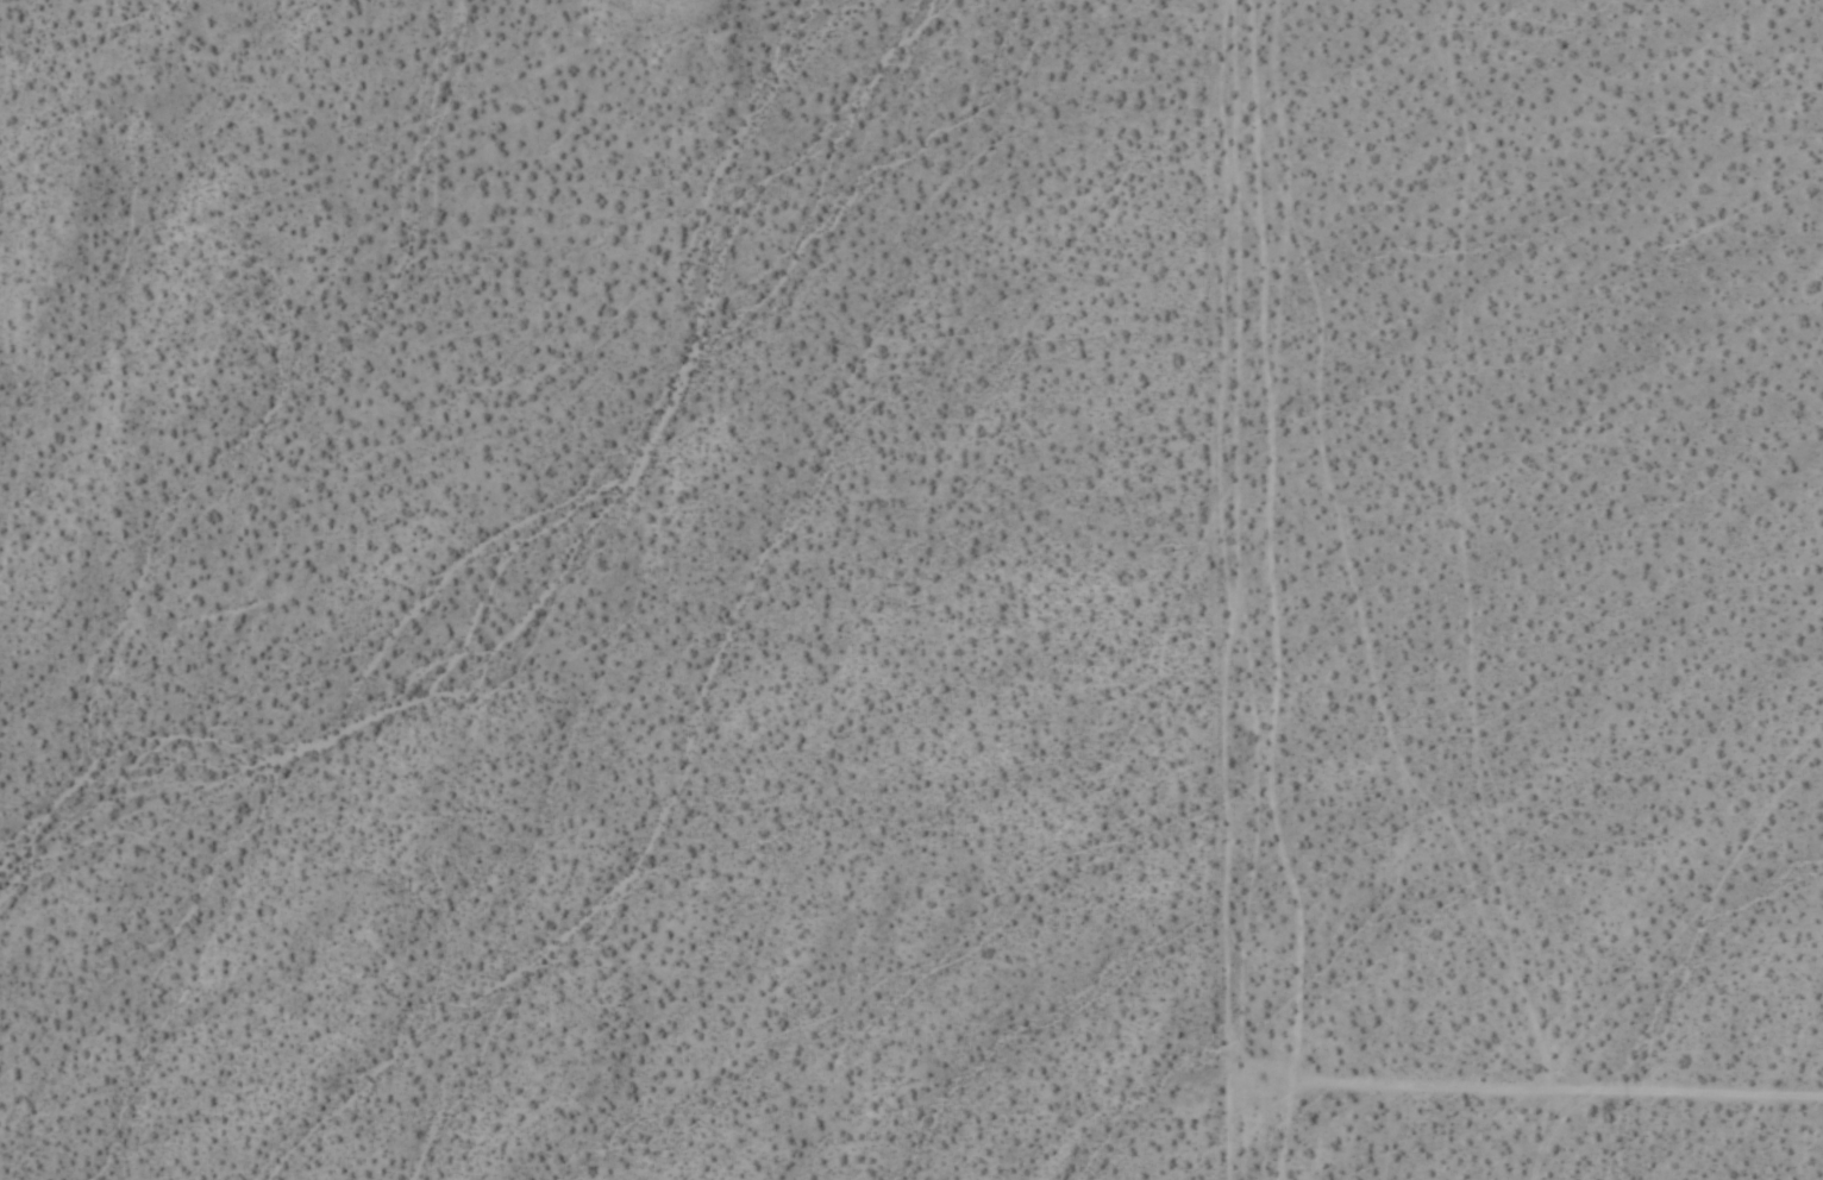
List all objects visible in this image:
crop: (1562, 586)
road: (1526, 1097)

